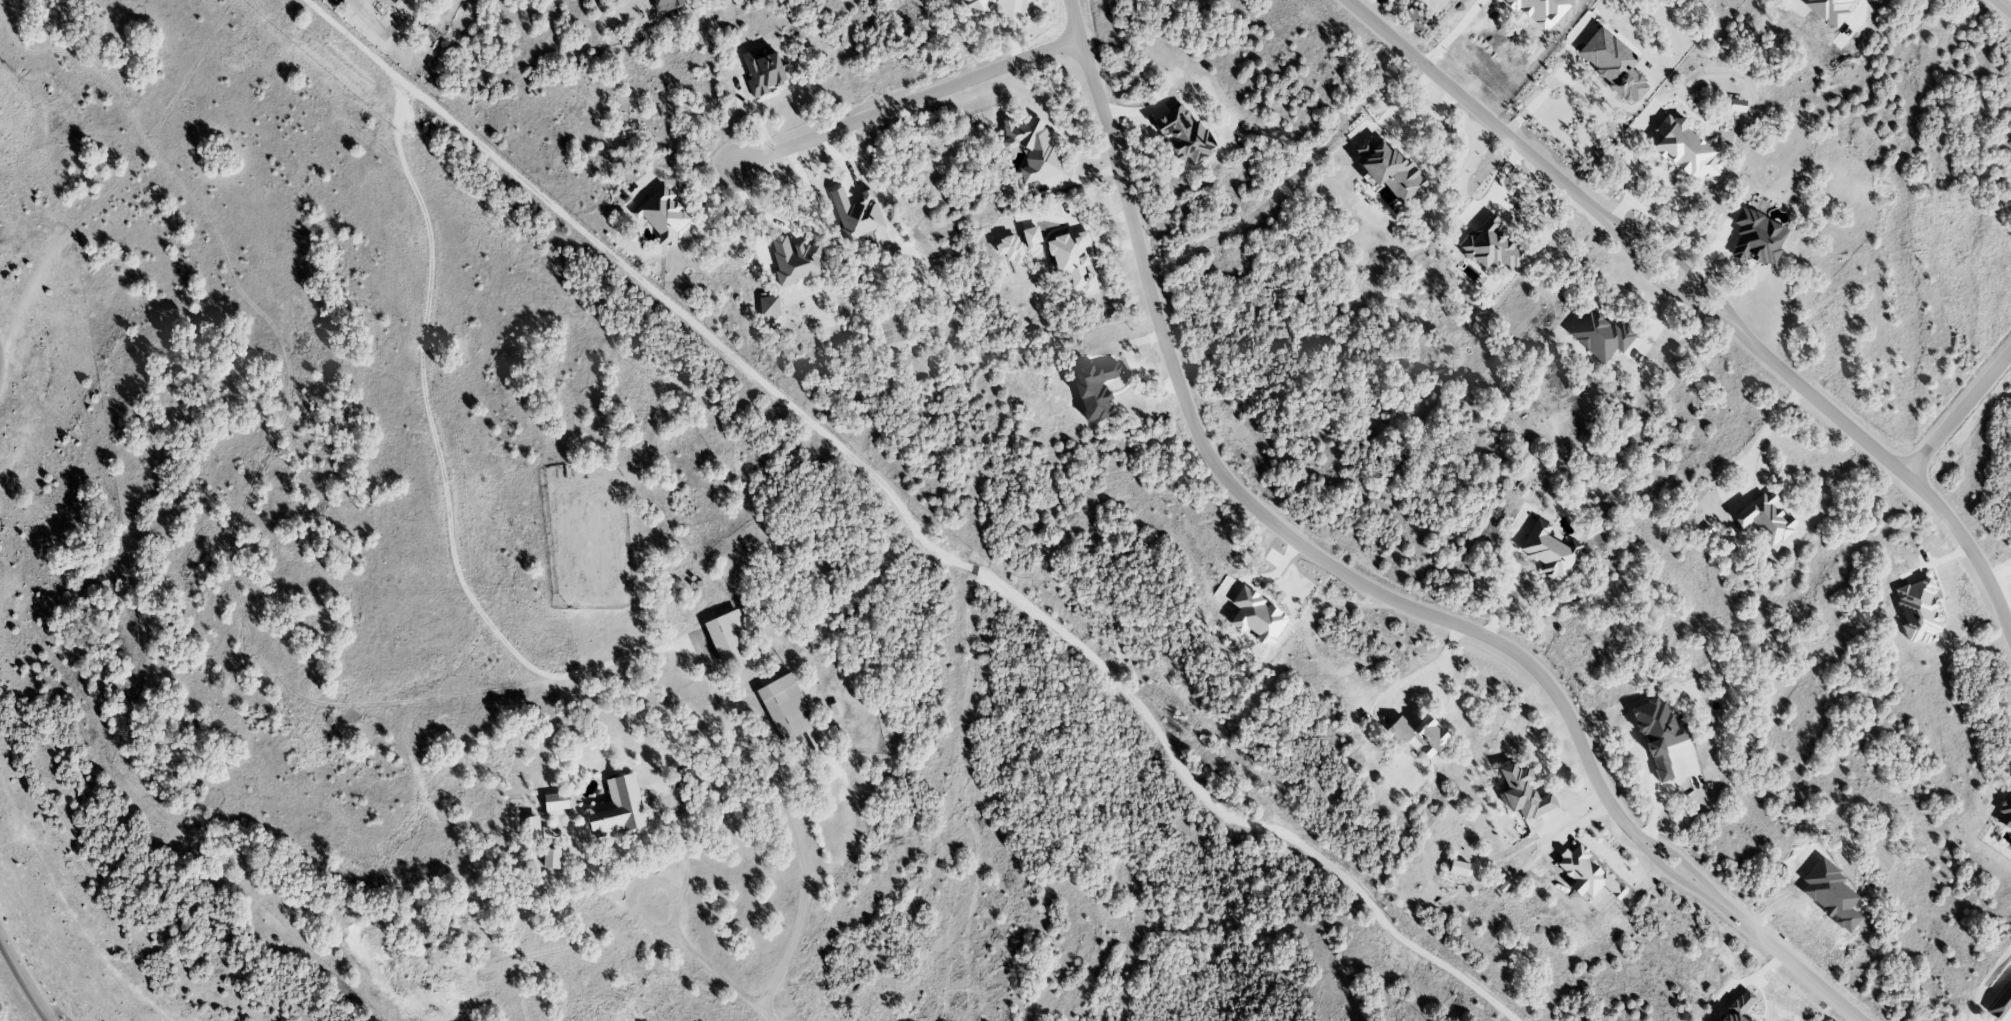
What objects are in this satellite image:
road: (1861, 3)
building: (665, 4)
building: (976, 4)
road: (2002, 7)
road: (1014, 31)
road: (1455, 33)
building: (1612, 63)
building: (762, 71)
road: (905, 103)
road: (1474, 108)
road: (1394, 122)
building: (1184, 134)
building: (1032, 147)
building: (1685, 150)
building: (1389, 169)
road: (1628, 173)
building: (662, 214)
building: (856, 214)
building: (1756, 237)
building: (1490, 246)
road: (1677, 263)
road: (1657, 286)
road: (1683, 286)
building: (1599, 334)
building: (1095, 389)
road: (1957, 411)
road: (1764, 435)
road: (438, 444)
road: (1894, 468)
road: (1242, 501)
building: (1764, 518)
building: (1548, 549)
road: (952, 560)
road: (1268, 577)
road: (1513, 580)
building: (1917, 611)
building: (738, 634)
road: (1422, 672)
building: (796, 711)
building: (1420, 733)
building: (1658, 735)
road: (1675, 778)
building: (1523, 792)
building: (556, 802)
building: (617, 809)
road: (783, 809)
building: (2005, 814)
road: (1651, 822)
building: (533, 827)
building: (551, 858)
road: (1679, 860)
building: (1458, 867)
building: (1586, 872)
road: (1667, 874)
road: (639, 882)
road: (1785, 959)
road: (721, 975)
road: (20, 984)
building: (2000, 1002)
building: (1739, 1007)

